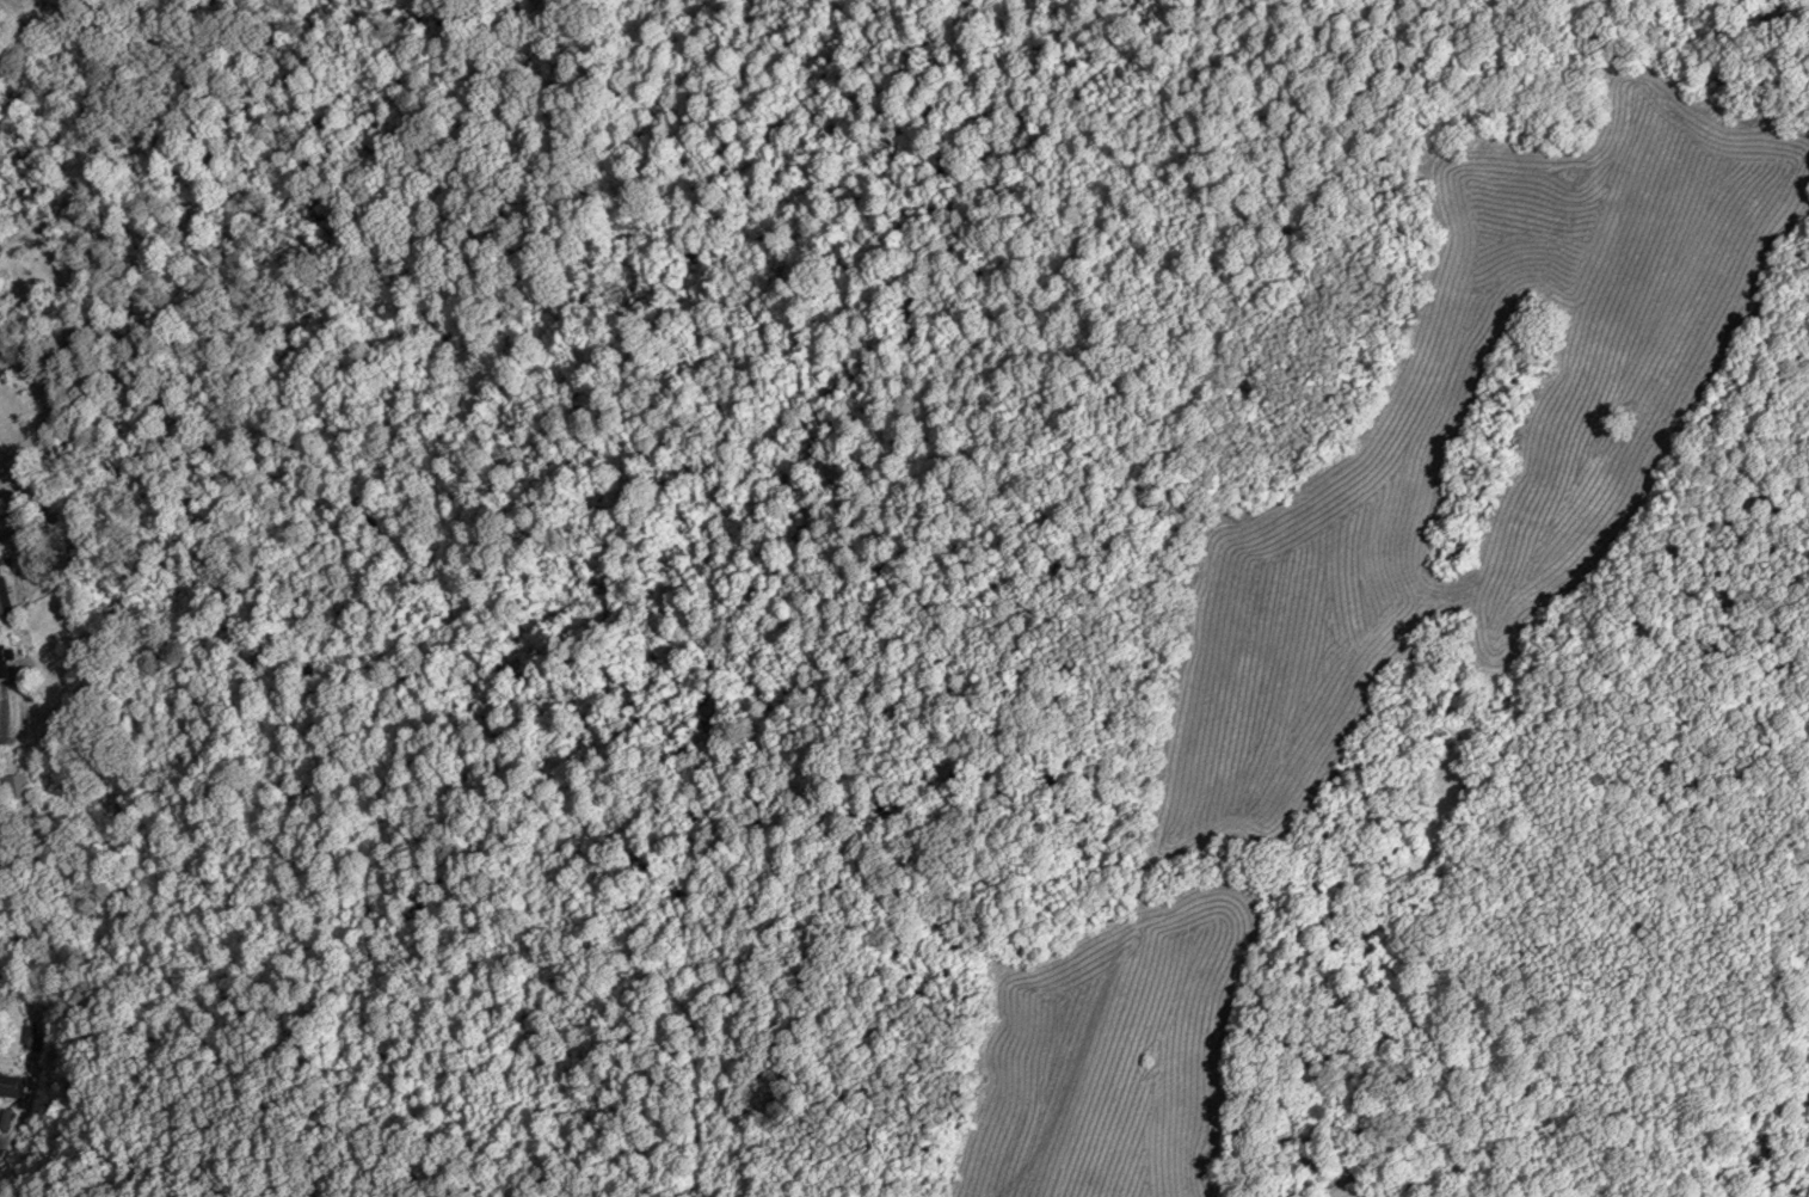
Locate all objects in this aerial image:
building: (4, 597)
building: (4, 659)
building: (14, 787)
building: (1, 1085)

